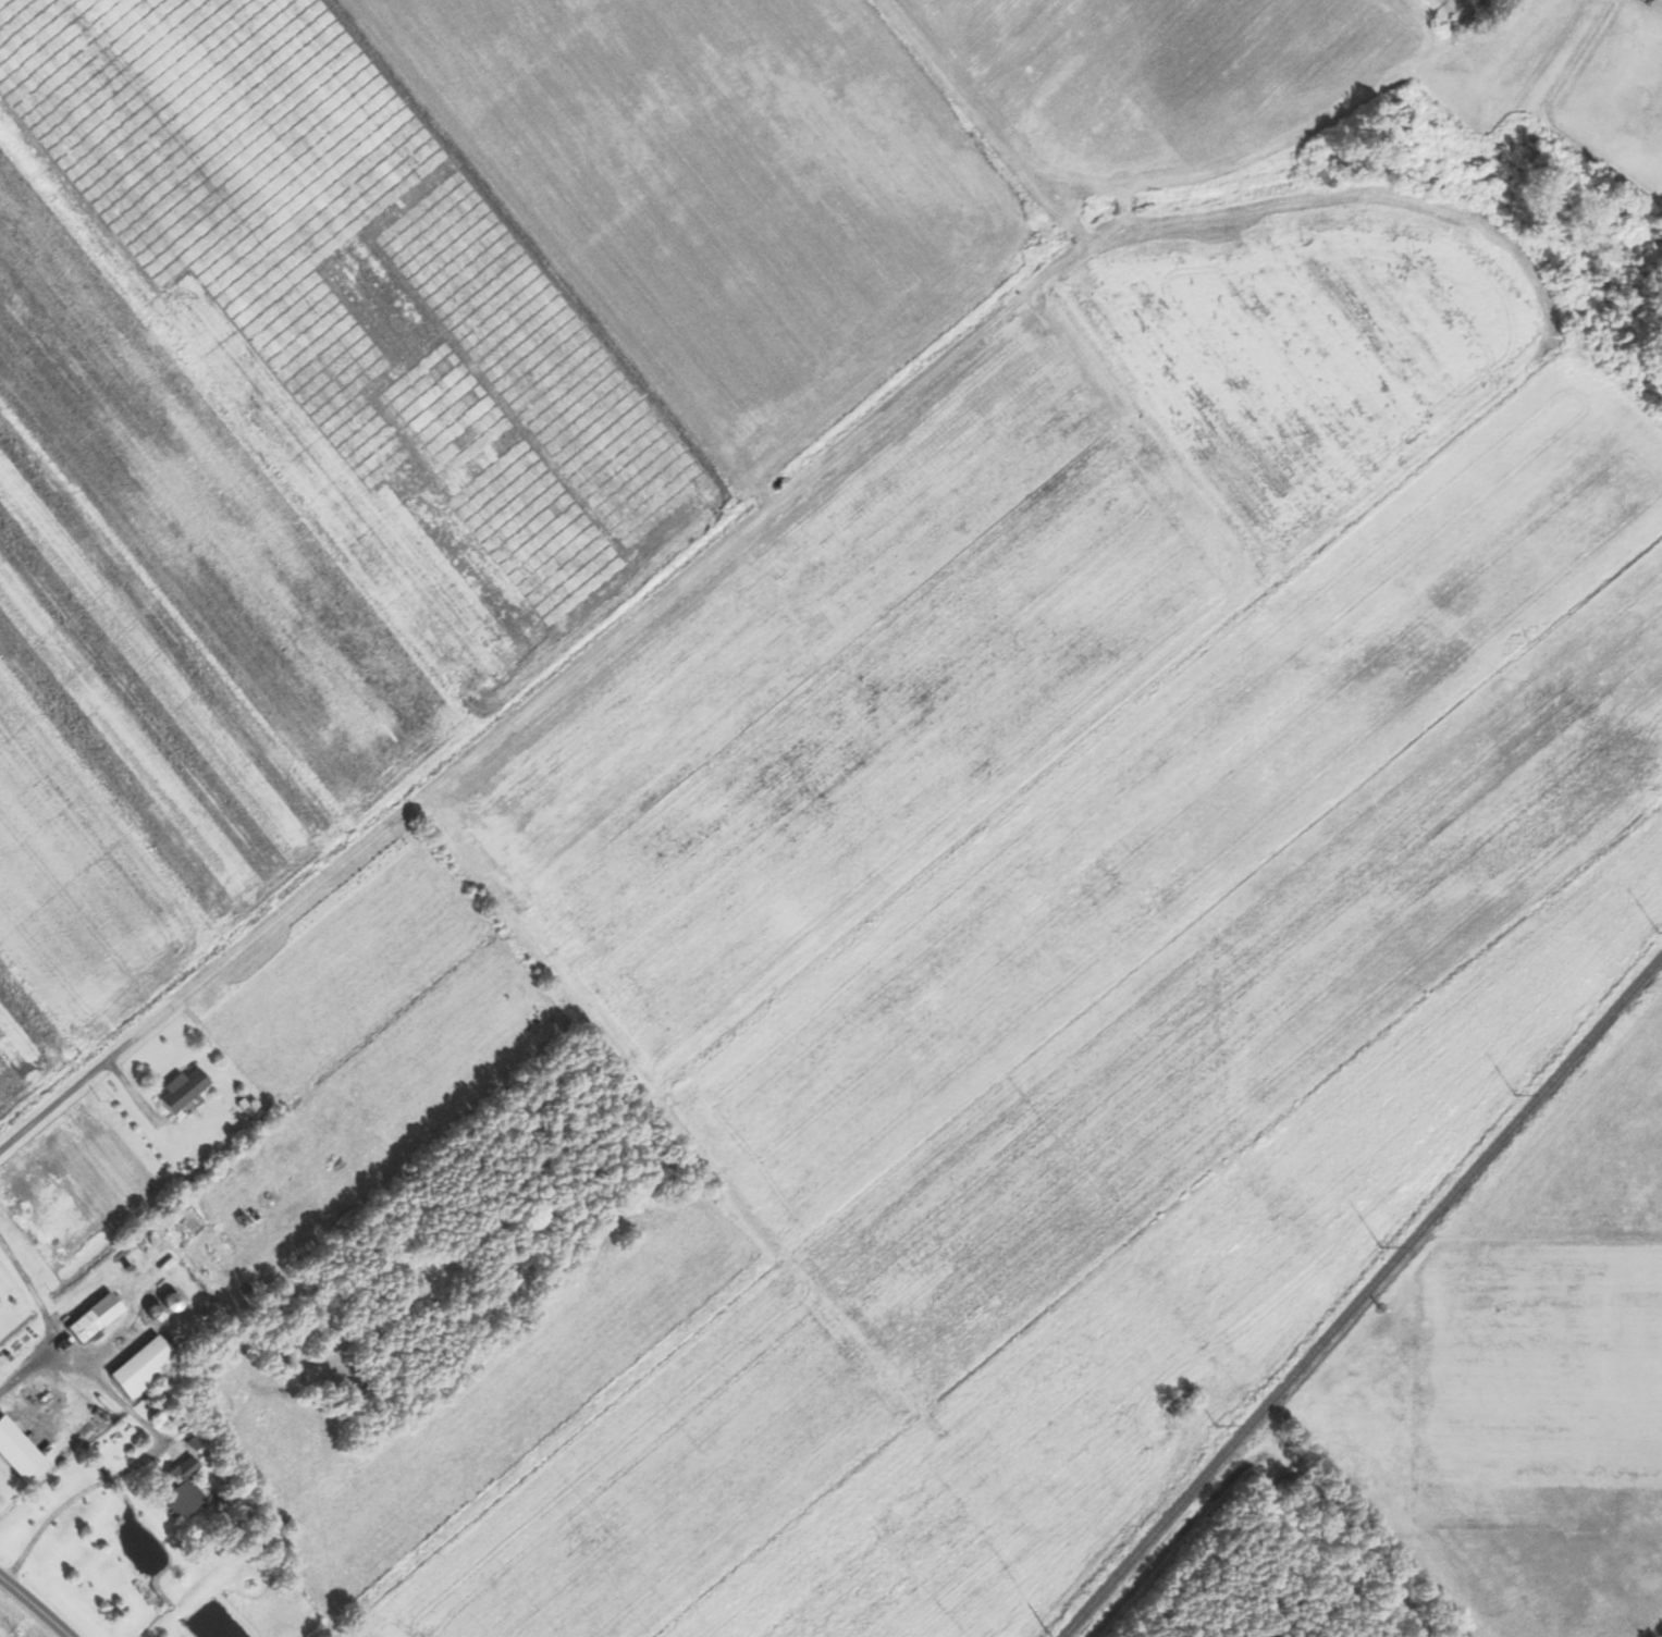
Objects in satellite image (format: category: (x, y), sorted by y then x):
power tower: (1659, 931)
road: (73, 1085)
building: (183, 1092)
power tower: (1515, 1093)
power tower: (1382, 1246)
road: (33, 1295)
railway: (1363, 1296)
building: (170, 1303)
building: (93, 1319)
building: (141, 1368)
power tower: (1217, 1425)
road: (153, 1448)
building: (182, 1489)
road: (29, 1611)

